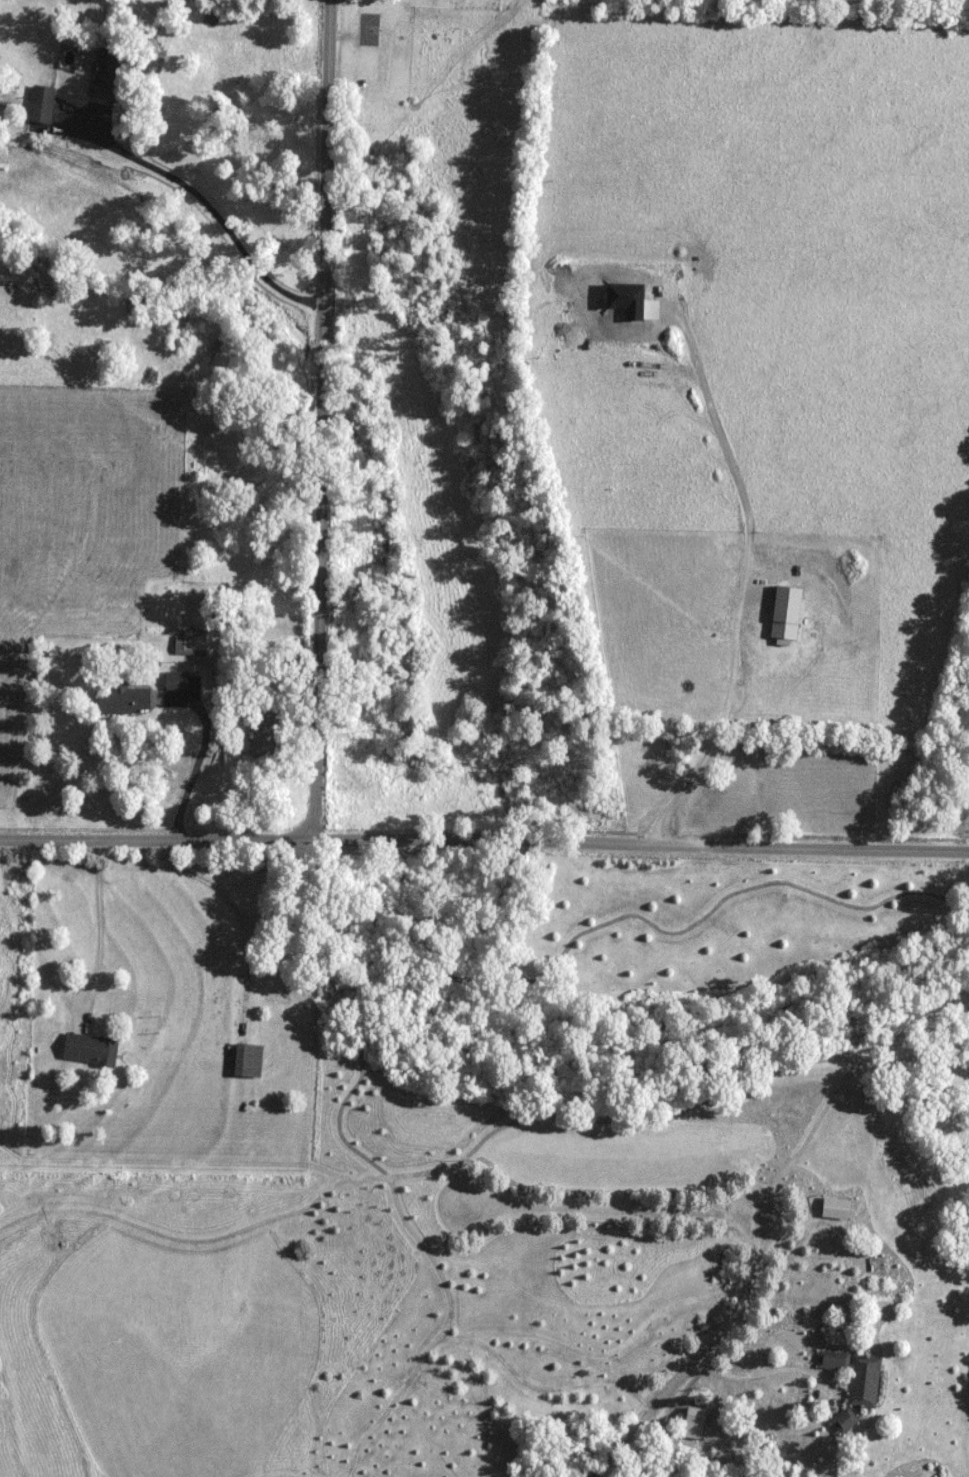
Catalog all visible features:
building: (108, 68)
building: (43, 105)
road: (207, 206)
road: (321, 420)
road: (744, 568)
building: (195, 640)
building: (177, 680)
building: (125, 700)
building: (266, 734)
road: (201, 753)
road: (484, 839)
building: (91, 1051)
building: (249, 1061)
building: (836, 1209)
building: (833, 1361)
road: (689, 1369)
road: (769, 1371)
building: (865, 1381)
building: (845, 1420)
building: (695, 1422)

